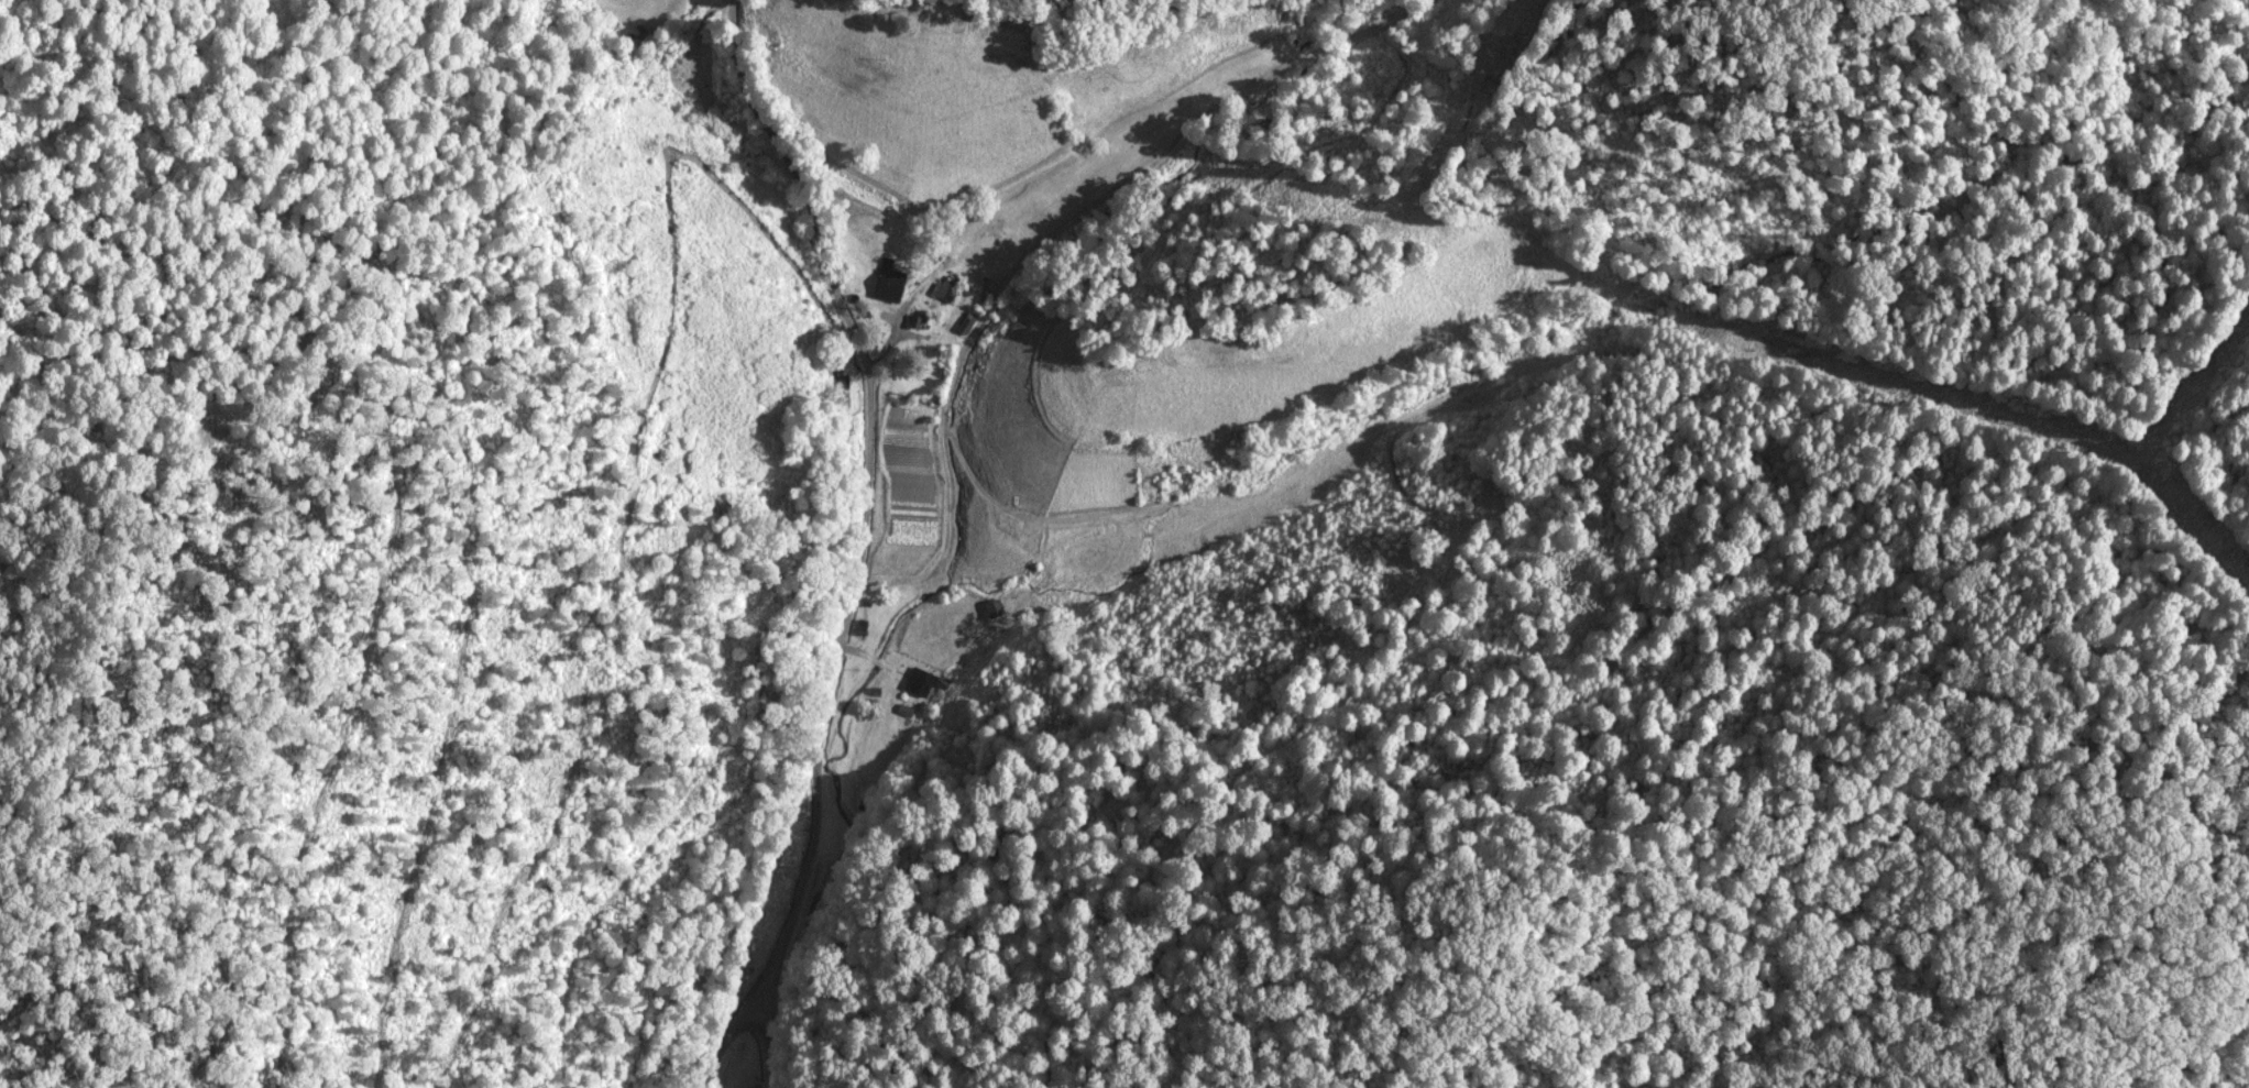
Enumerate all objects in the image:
road: (1066, 172)
building: (887, 281)
road: (767, 525)
building: (994, 607)
building: (918, 679)
road: (689, 1058)

